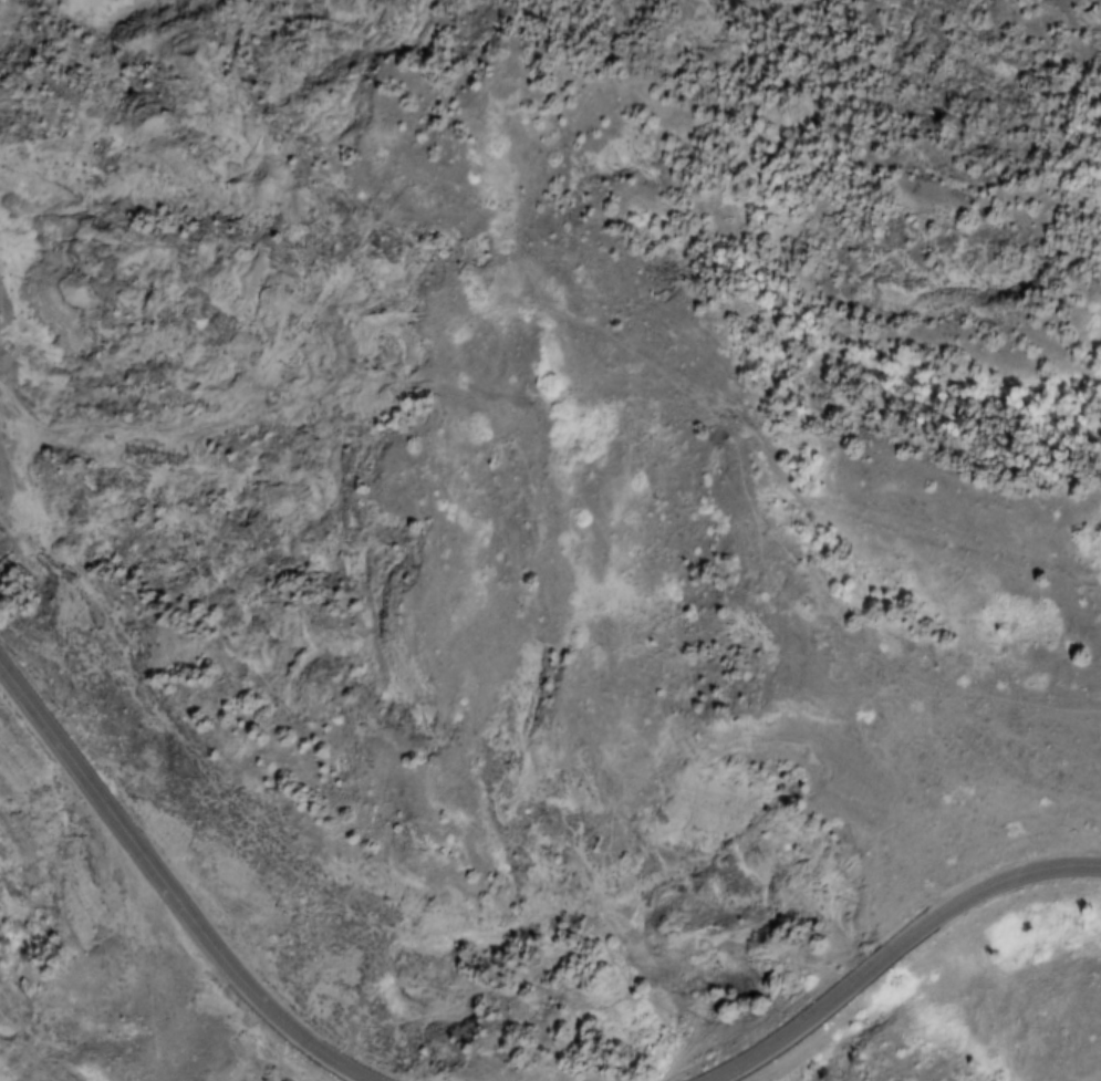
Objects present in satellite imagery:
road: (169, 894)
road: (897, 946)

